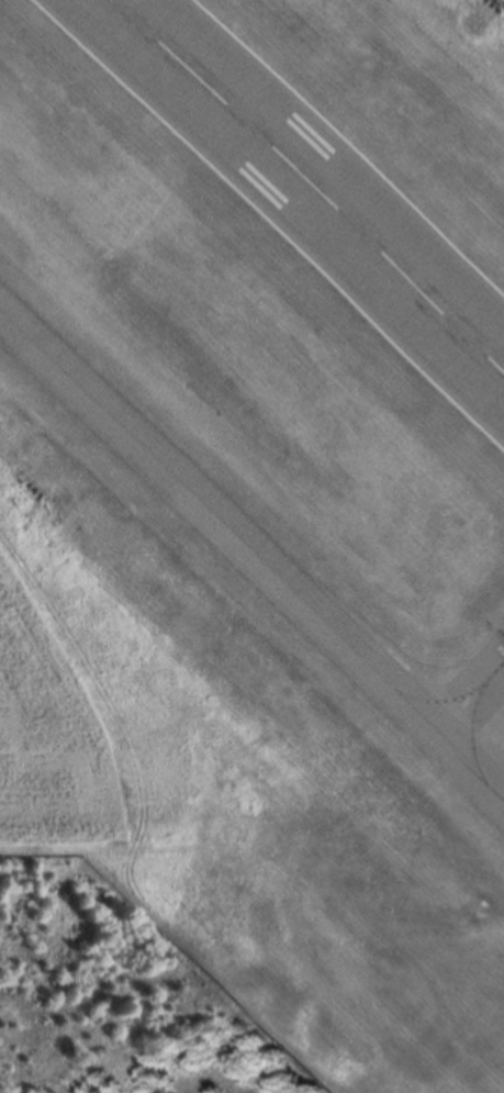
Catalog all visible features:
airport runway: (306, 188)
airport: (265, 500)
airport taxiway: (251, 557)
airport taxiway: (439, 700)
airport taxiway: (473, 721)

